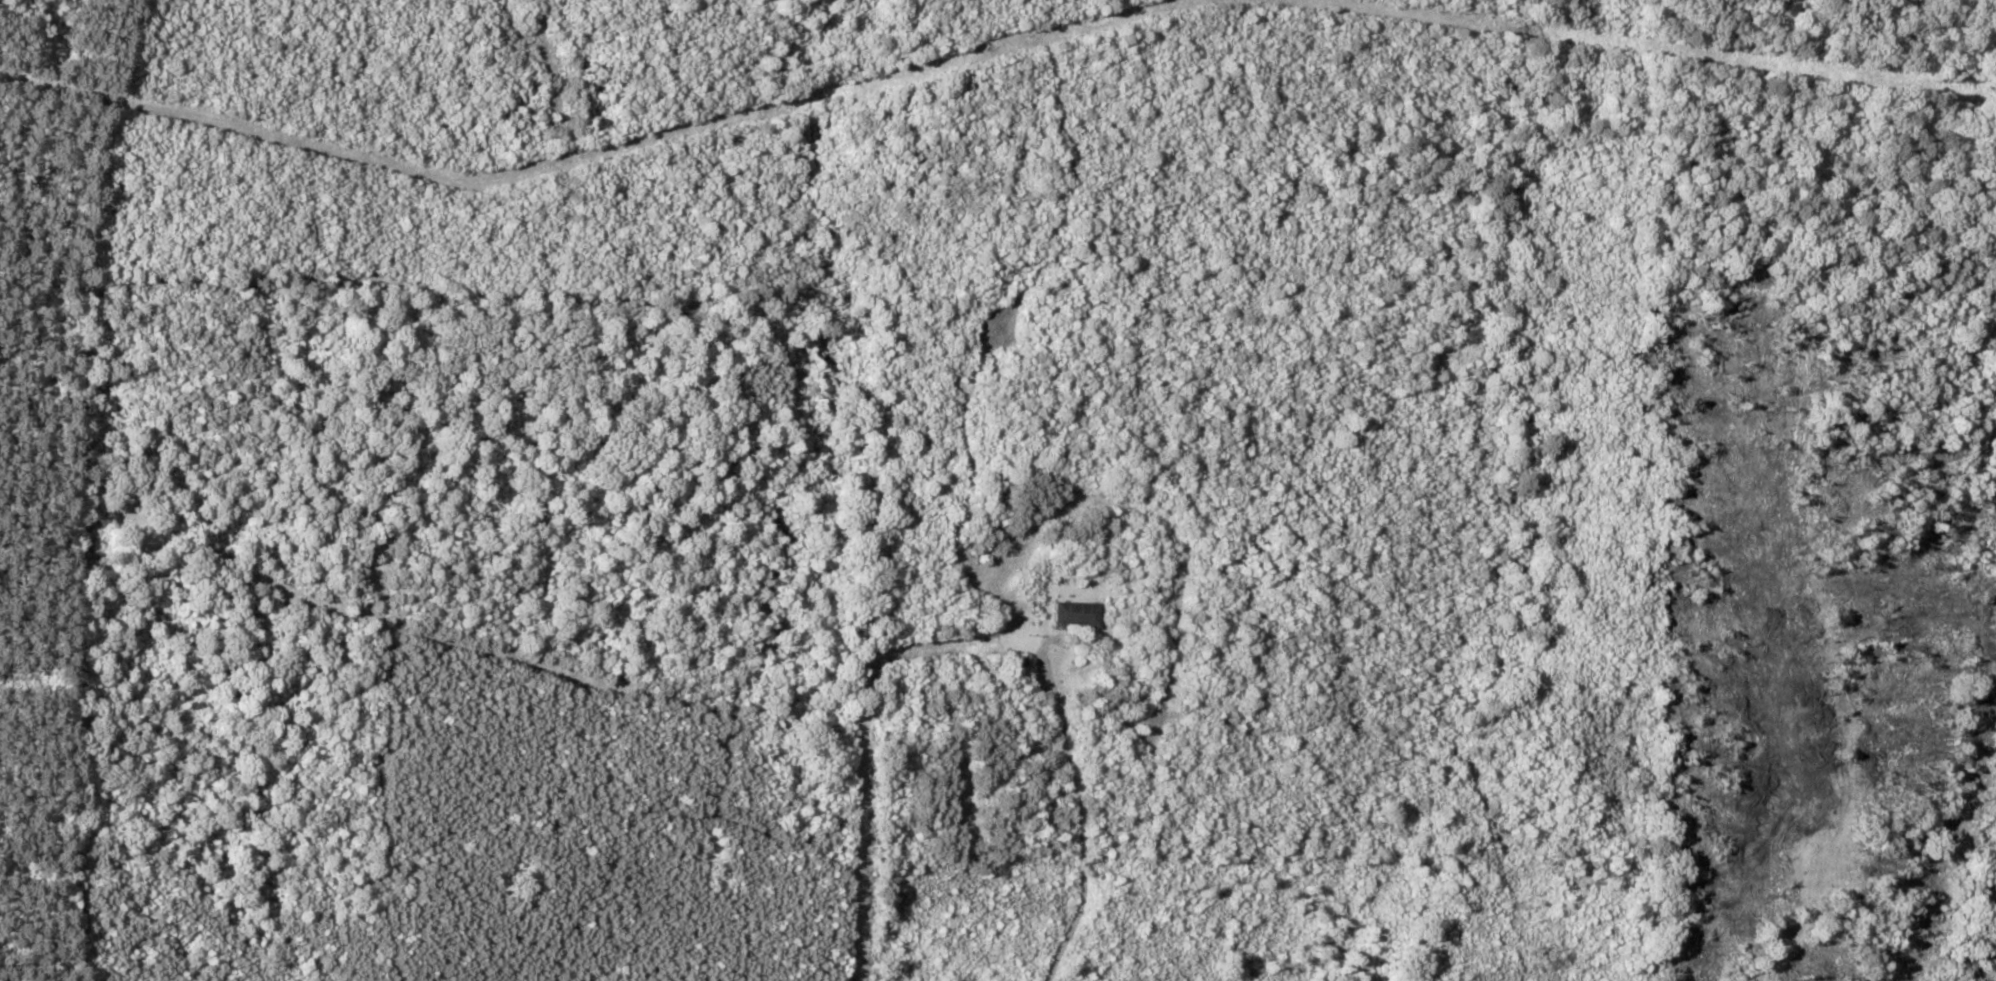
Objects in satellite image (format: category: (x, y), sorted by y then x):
building: (1081, 613)
road: (1837, 674)

